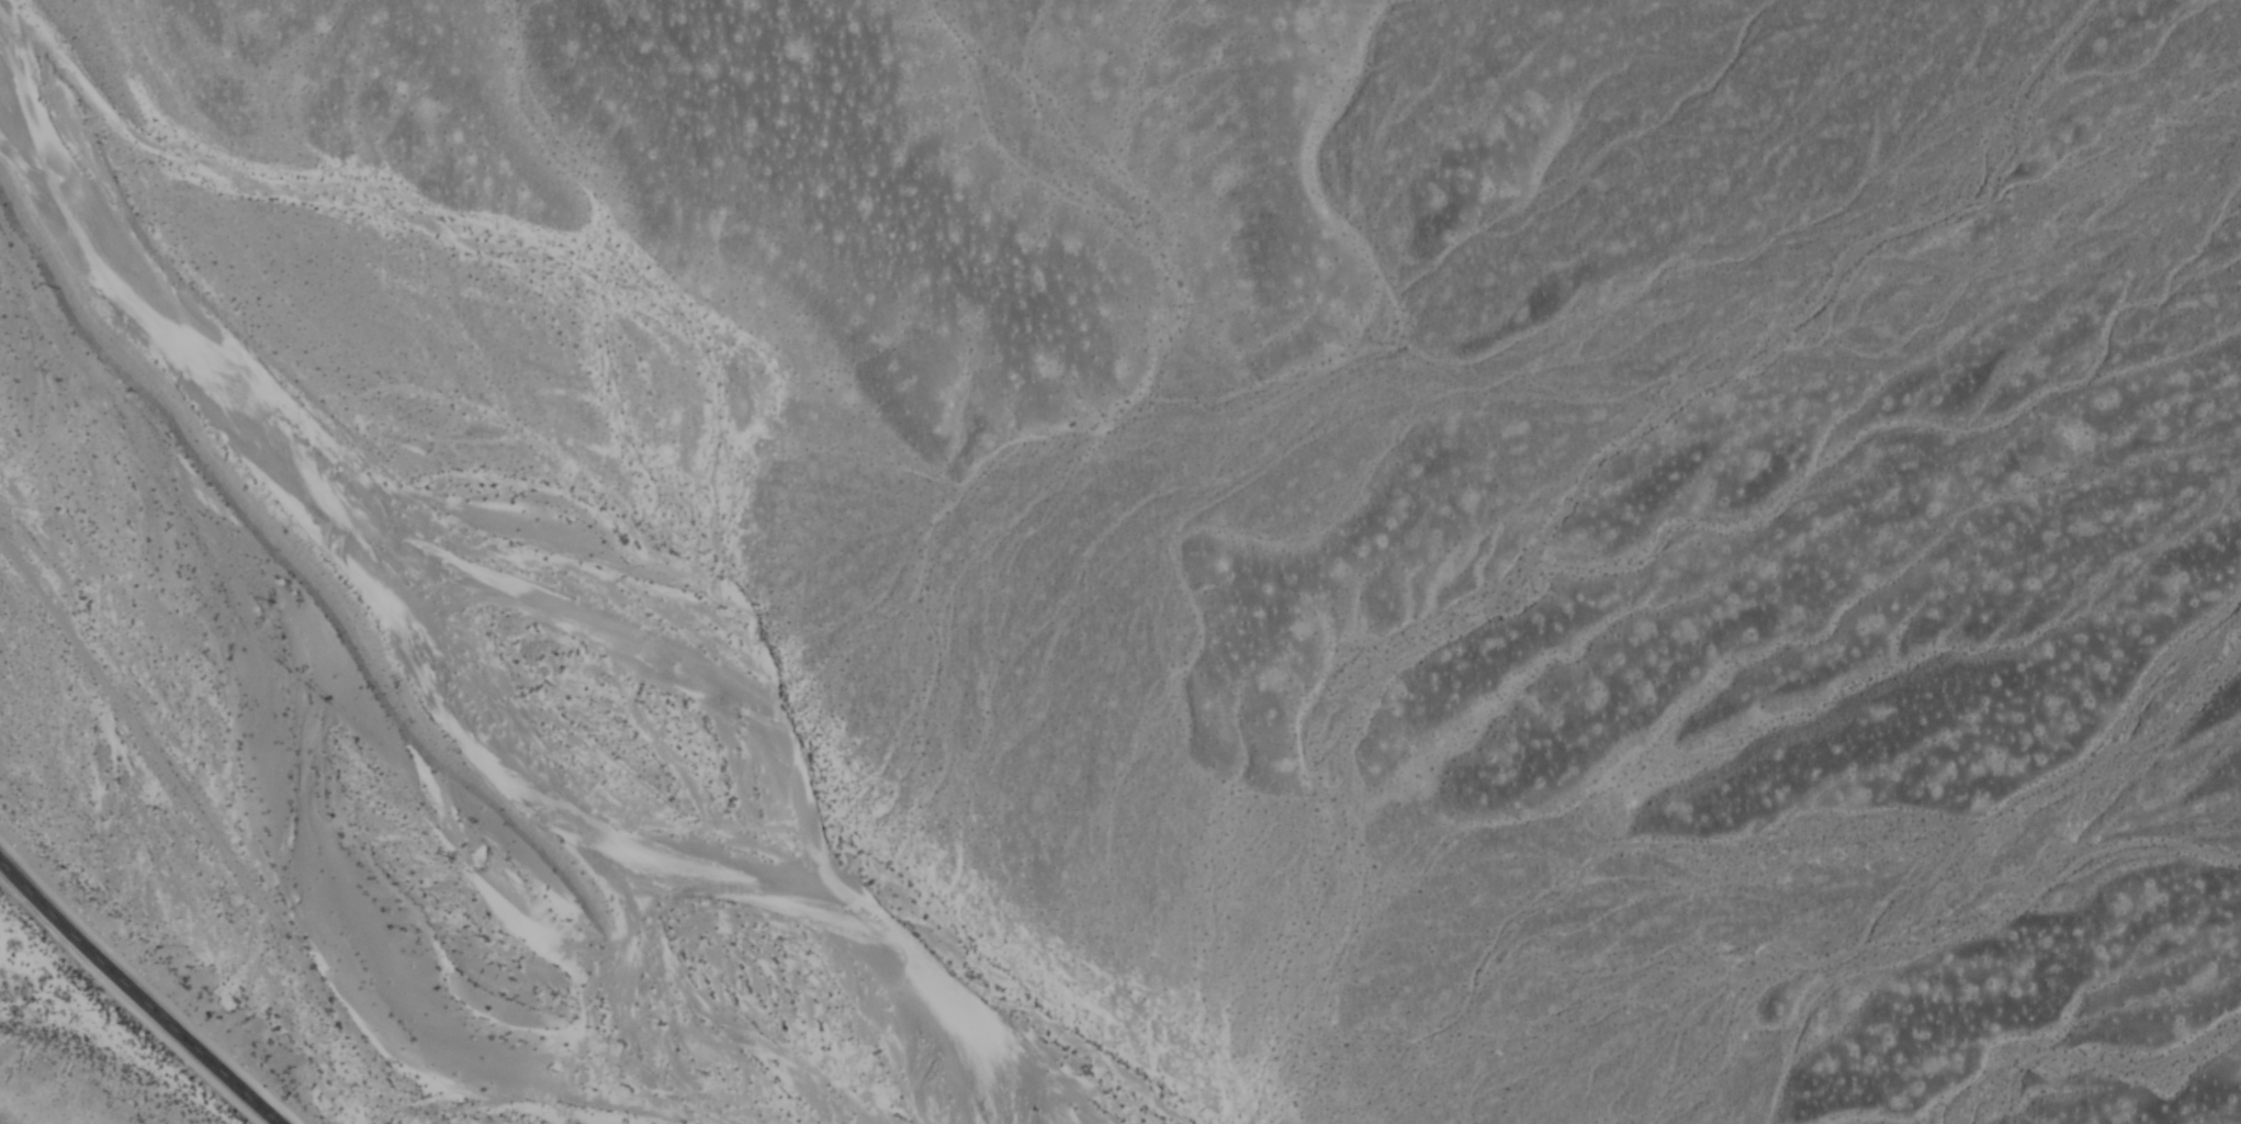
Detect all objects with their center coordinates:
river: (301, 654)
road: (140, 989)

